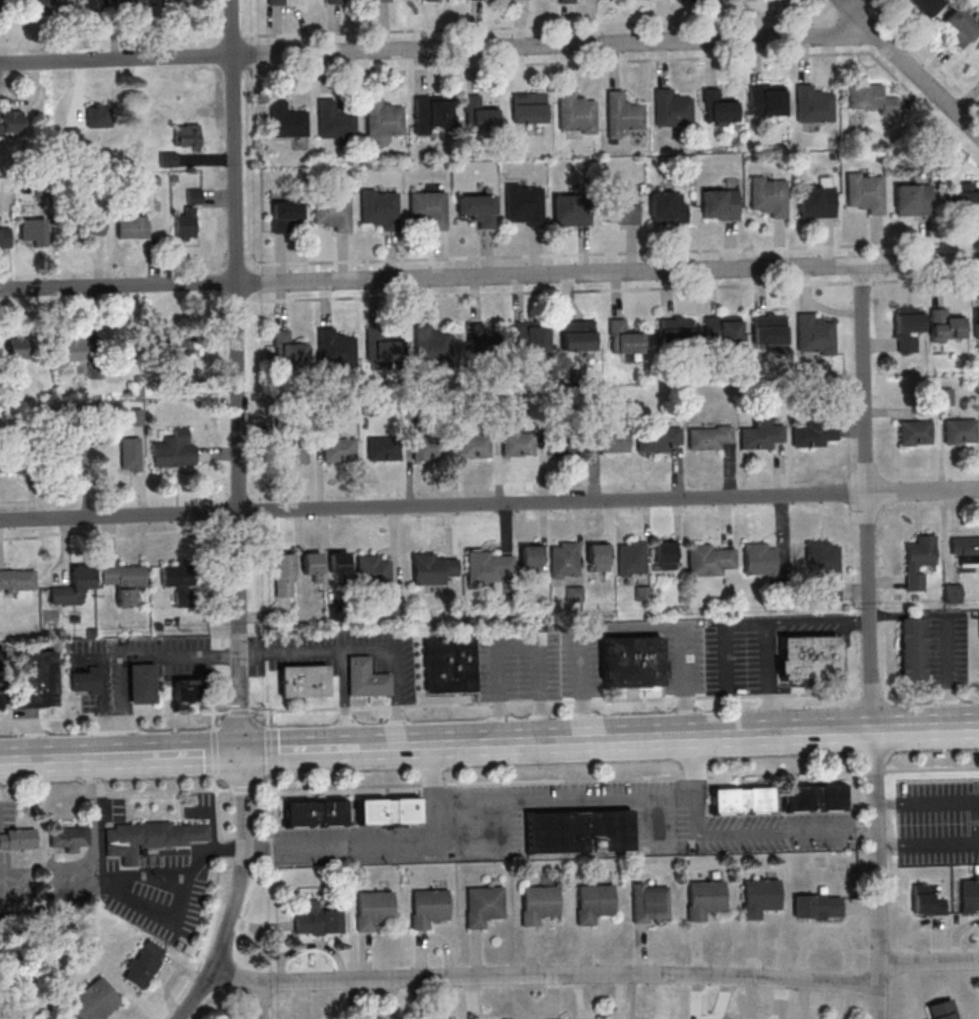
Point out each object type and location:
building: (382, 0)
building: (430, 0)
building: (565, 0)
building: (277, 2)
building: (175, 3)
building: (132, 4)
road: (854, 4)
building: (925, 5)
building: (91, 6)
building: (37, 7)
road: (874, 7)
building: (957, 27)
building: (978, 46)
building: (978, 48)
road: (437, 49)
road: (909, 67)
building: (870, 98)
building: (765, 100)
building: (812, 105)
building: (717, 107)
building: (528, 108)
building: (671, 109)
building: (622, 111)
building: (431, 112)
building: (575, 112)
building: (480, 114)
building: (97, 116)
building: (382, 118)
building: (285, 120)
building: (333, 120)
building: (10, 122)
building: (187, 136)
building: (866, 193)
building: (193, 195)
building: (768, 197)
building: (912, 199)
building: (963, 200)
building: (816, 202)
building: (719, 203)
building: (523, 205)
building: (619, 207)
building: (667, 207)
building: (427, 208)
building: (476, 208)
building: (380, 210)
building: (571, 210)
building: (331, 211)
building: (286, 216)
building: (94, 225)
building: (185, 225)
building: (132, 227)
building: (32, 232)
building: (4, 238)
road: (489, 276)
building: (906, 324)
building: (975, 324)
building: (946, 325)
building: (675, 329)
building: (723, 330)
building: (768, 331)
building: (578, 335)
building: (814, 335)
building: (530, 336)
building: (624, 337)
building: (480, 339)
building: (180, 340)
building: (388, 345)
building: (432, 346)
building: (336, 348)
building: (16, 349)
building: (74, 349)
building: (289, 349)
building: (96, 358)
building: (944, 396)
building: (959, 430)
building: (914, 432)
building: (811, 434)
building: (759, 436)
building: (707, 437)
building: (656, 439)
building: (613, 441)
building: (562, 443)
building: (517, 444)
building: (472, 445)
building: (427, 446)
building: (382, 448)
building: (337, 449)
building: (174, 450)
building: (289, 451)
building: (63, 453)
building: (130, 454)
building: (12, 463)
road: (239, 487)
road: (489, 504)
building: (964, 547)
building: (663, 555)
building: (597, 556)
building: (630, 557)
building: (530, 558)
building: (759, 558)
building: (563, 559)
building: (708, 559)
building: (917, 560)
building: (339, 562)
building: (312, 564)
building: (373, 567)
building: (822, 567)
building: (428, 568)
building: (490, 570)
building: (284, 574)
building: (124, 580)
building: (18, 583)
building: (182, 583)
building: (69, 592)
building: (952, 592)
building: (396, 606)
road: (818, 620)
road: (631, 630)
road: (870, 642)
road: (516, 644)
road: (335, 648)
building: (910, 648)
road: (156, 657)
building: (808, 658)
building: (453, 660)
building: (631, 662)
road: (342, 665)
building: (0, 678)
building: (365, 678)
road: (769, 678)
building: (33, 680)
building: (301, 681)
building: (85, 682)
road: (213, 682)
building: (142, 684)
building: (186, 690)
road: (267, 693)
road: (490, 703)
building: (0, 705)
road: (126, 707)
road: (105, 708)
road: (396, 714)
road: (344, 716)
road: (925, 728)
road: (623, 739)
road: (358, 749)
road: (268, 751)
road: (291, 751)
road: (214, 752)
traffic signals: (242, 753)
road: (193, 754)
road: (120, 757)
road: (48, 760)
road: (431, 774)
road: (489, 782)
building: (814, 797)
building: (740, 800)
road: (478, 801)
road: (895, 803)
road: (947, 803)
building: (389, 811)
building: (314, 813)
road: (692, 816)
road: (270, 821)
building: (577, 831)
road: (785, 832)
building: (17, 838)
building: (69, 838)
building: (151, 838)
road: (946, 842)
road: (895, 843)
road: (218, 866)
building: (969, 894)
building: (759, 897)
building: (703, 899)
building: (927, 901)
building: (593, 902)
building: (650, 902)
building: (538, 904)
building: (483, 905)
building: (817, 906)
building: (428, 907)
building: (372, 910)
building: (316, 920)
building: (143, 964)
road: (929, 964)
road: (569, 975)
road: (234, 977)
road: (196, 995)
building: (94, 1000)
road: (259, 1002)
building: (941, 1010)
building: (53, 1017)
building: (22, 1018)

